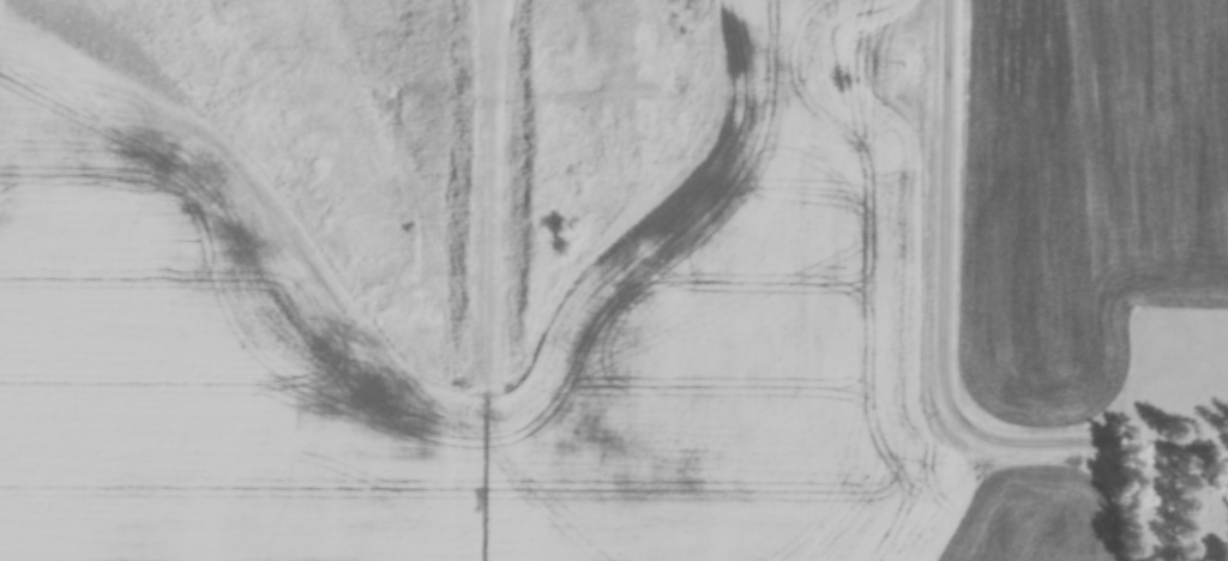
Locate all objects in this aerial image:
road: (950, 301)

